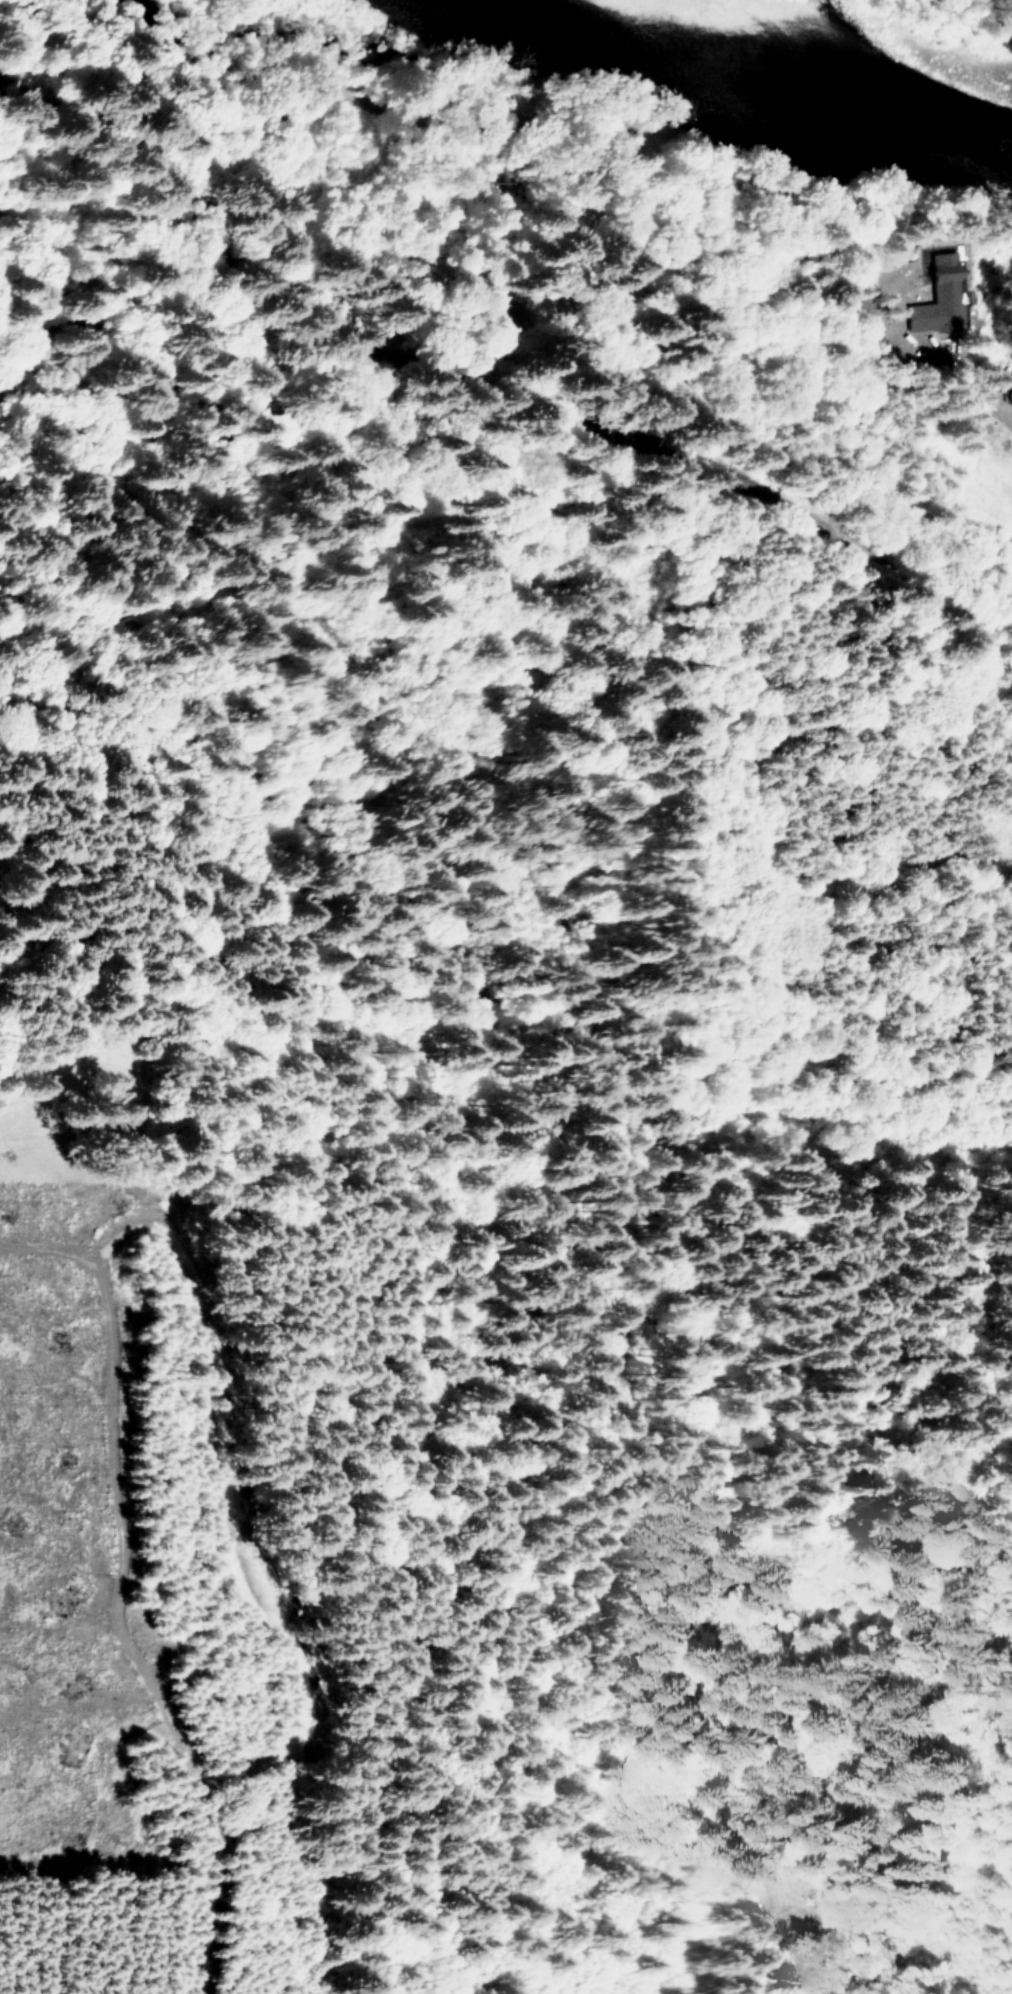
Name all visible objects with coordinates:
river: (802, 79)
building: (936, 297)
railway: (509, 384)
road: (988, 399)
road: (946, 1160)
road: (801, 1992)

